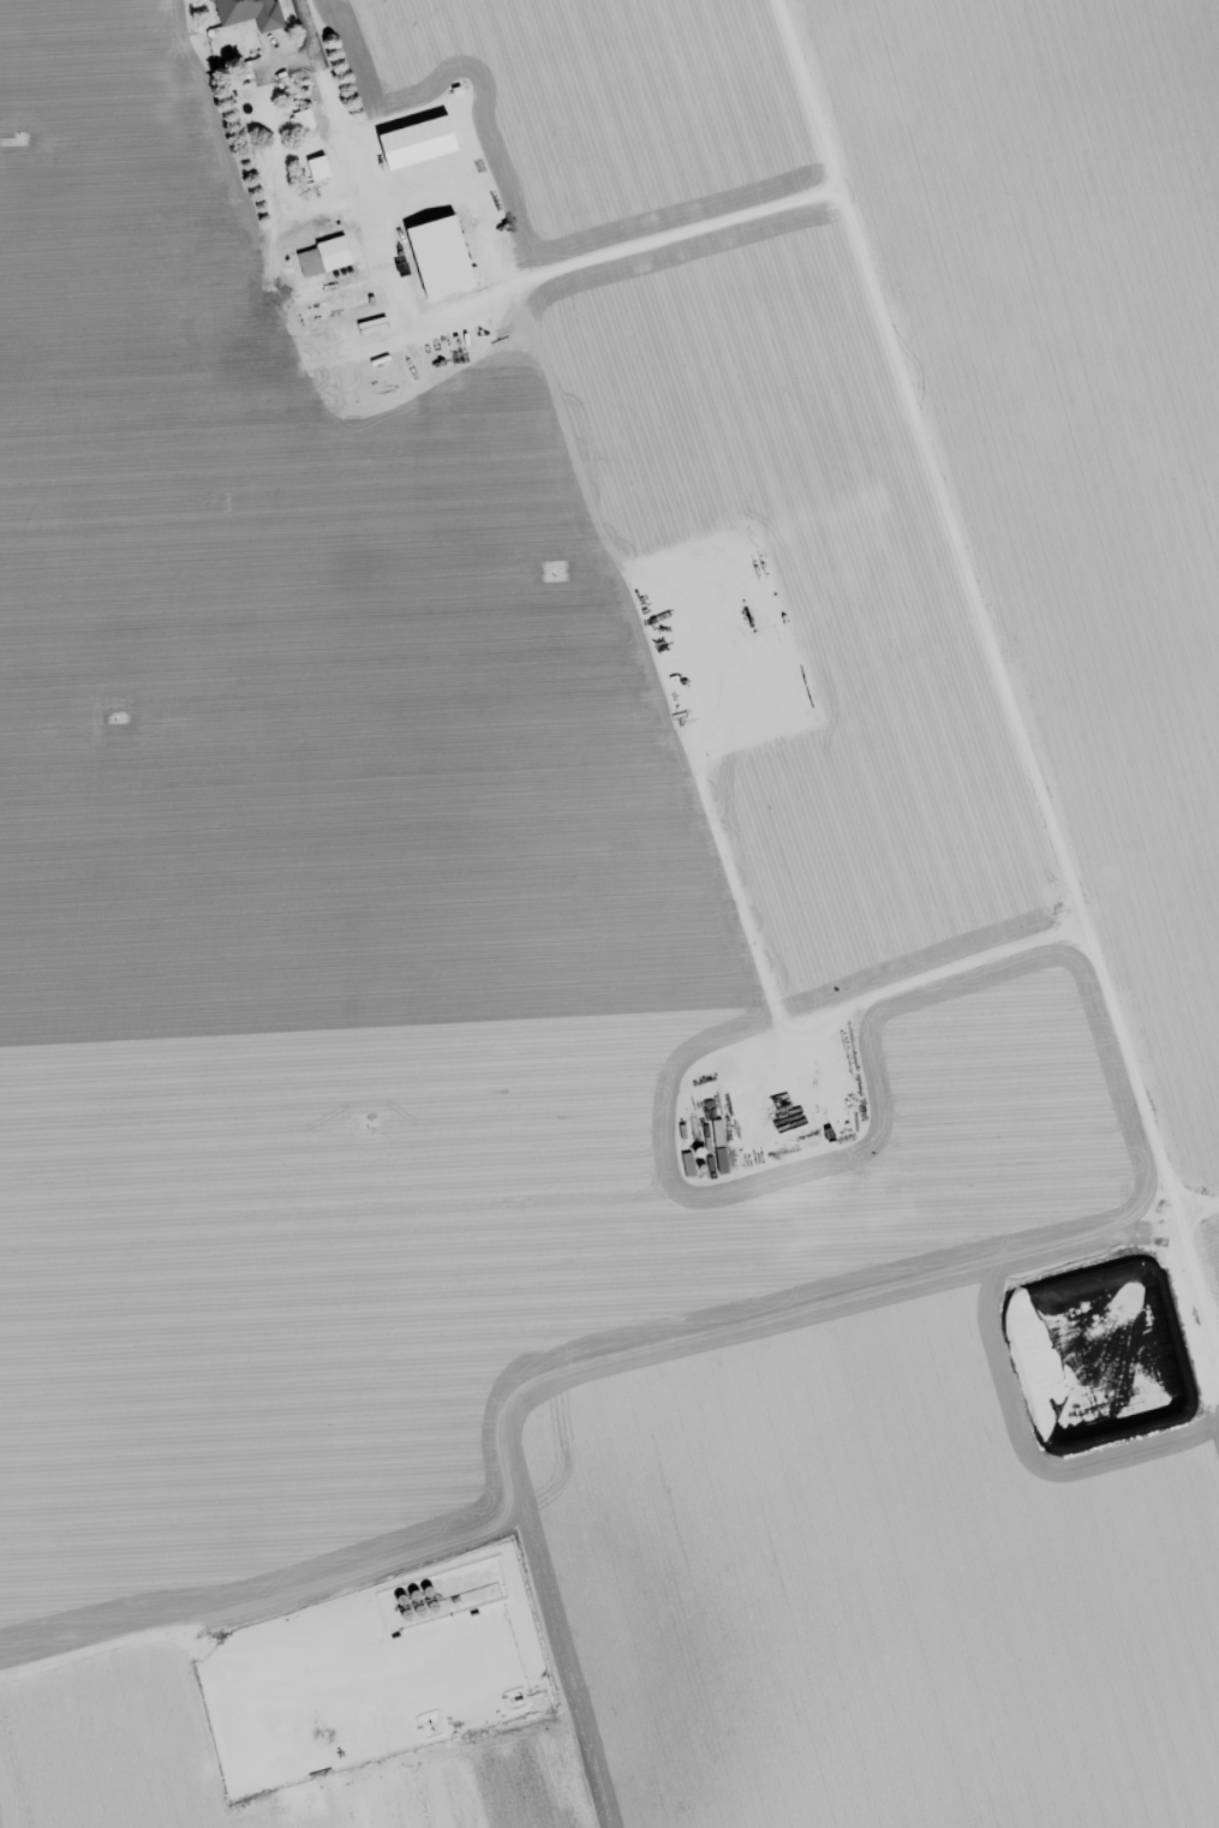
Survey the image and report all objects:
building: (303, 118)
building: (413, 139)
building: (319, 253)
building: (436, 253)
road: (1004, 1666)

